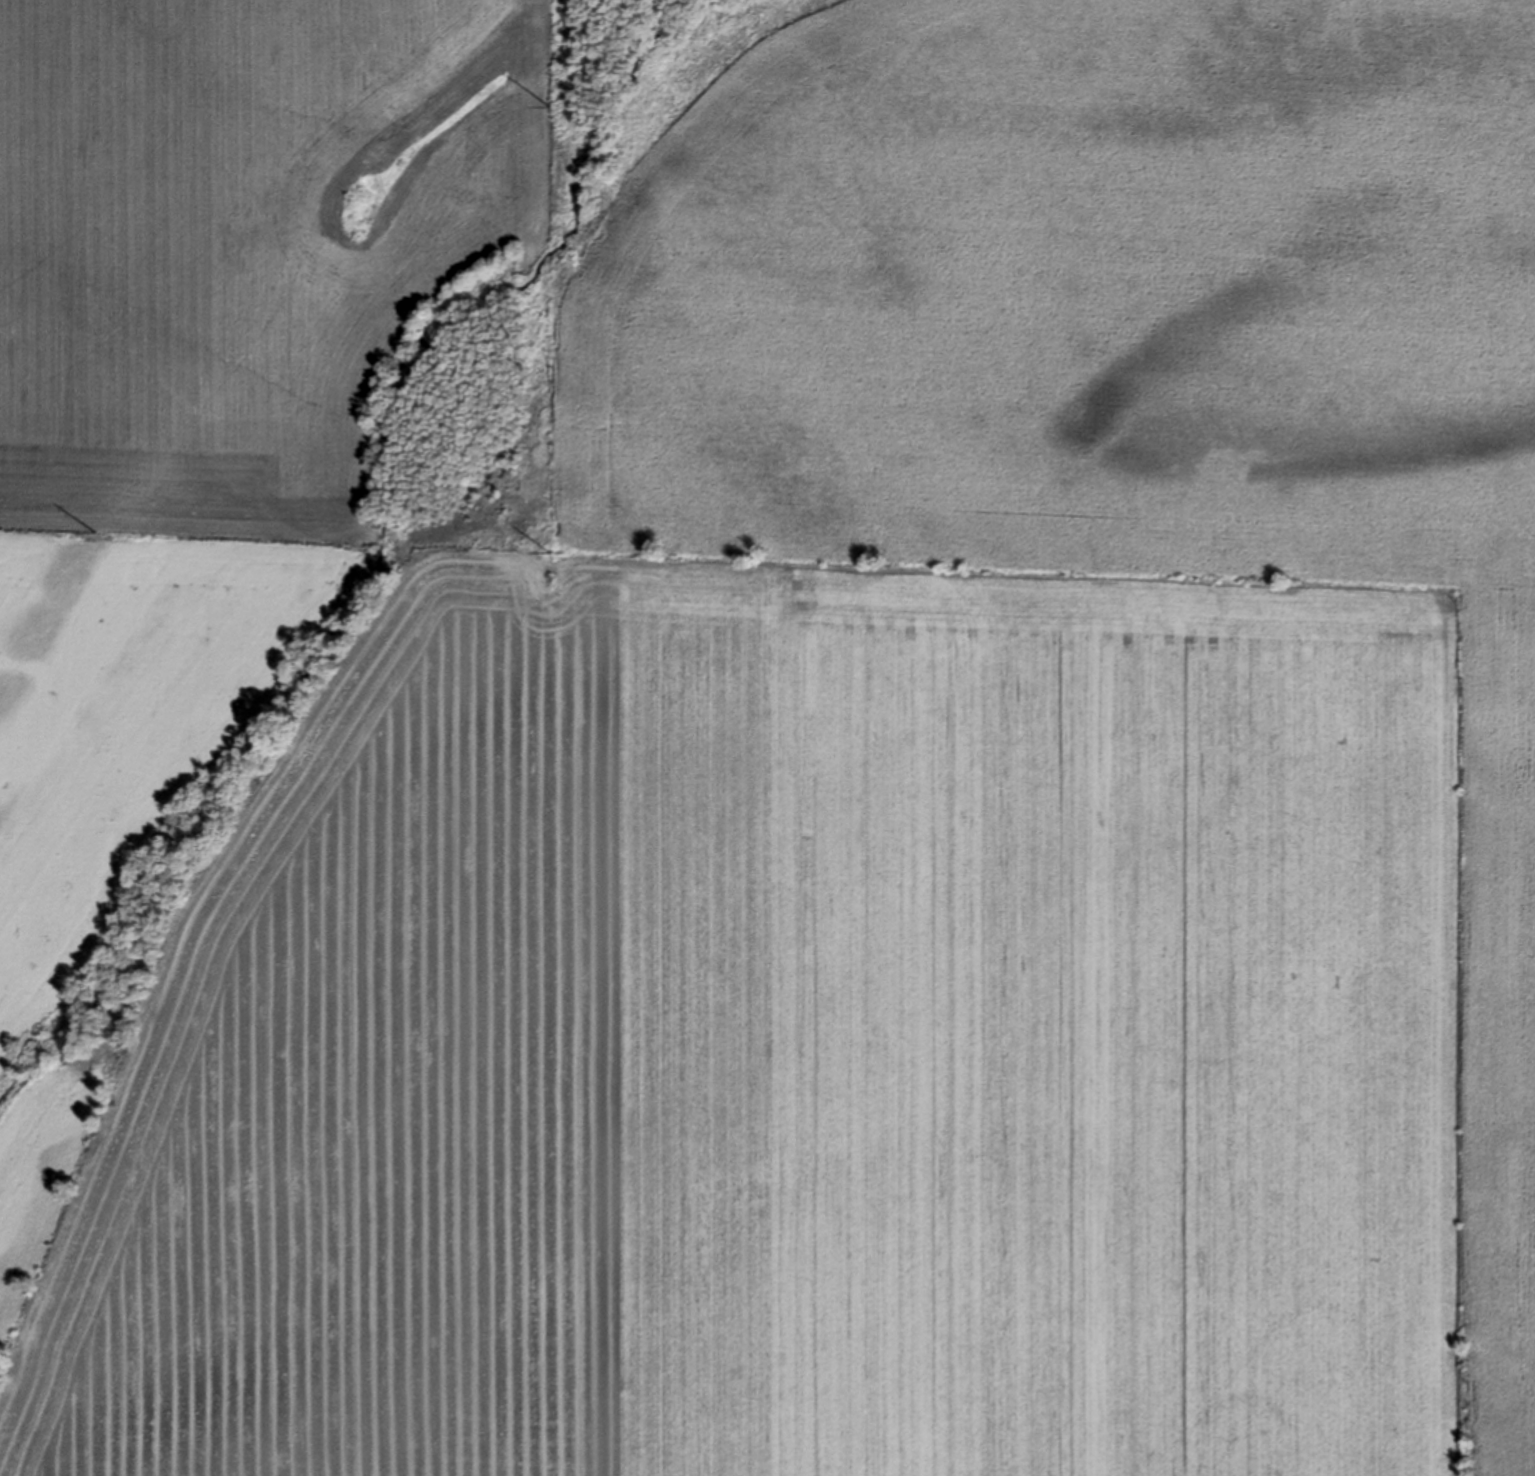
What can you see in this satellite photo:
power tower: (549, 107)
power tower: (548, 546)

